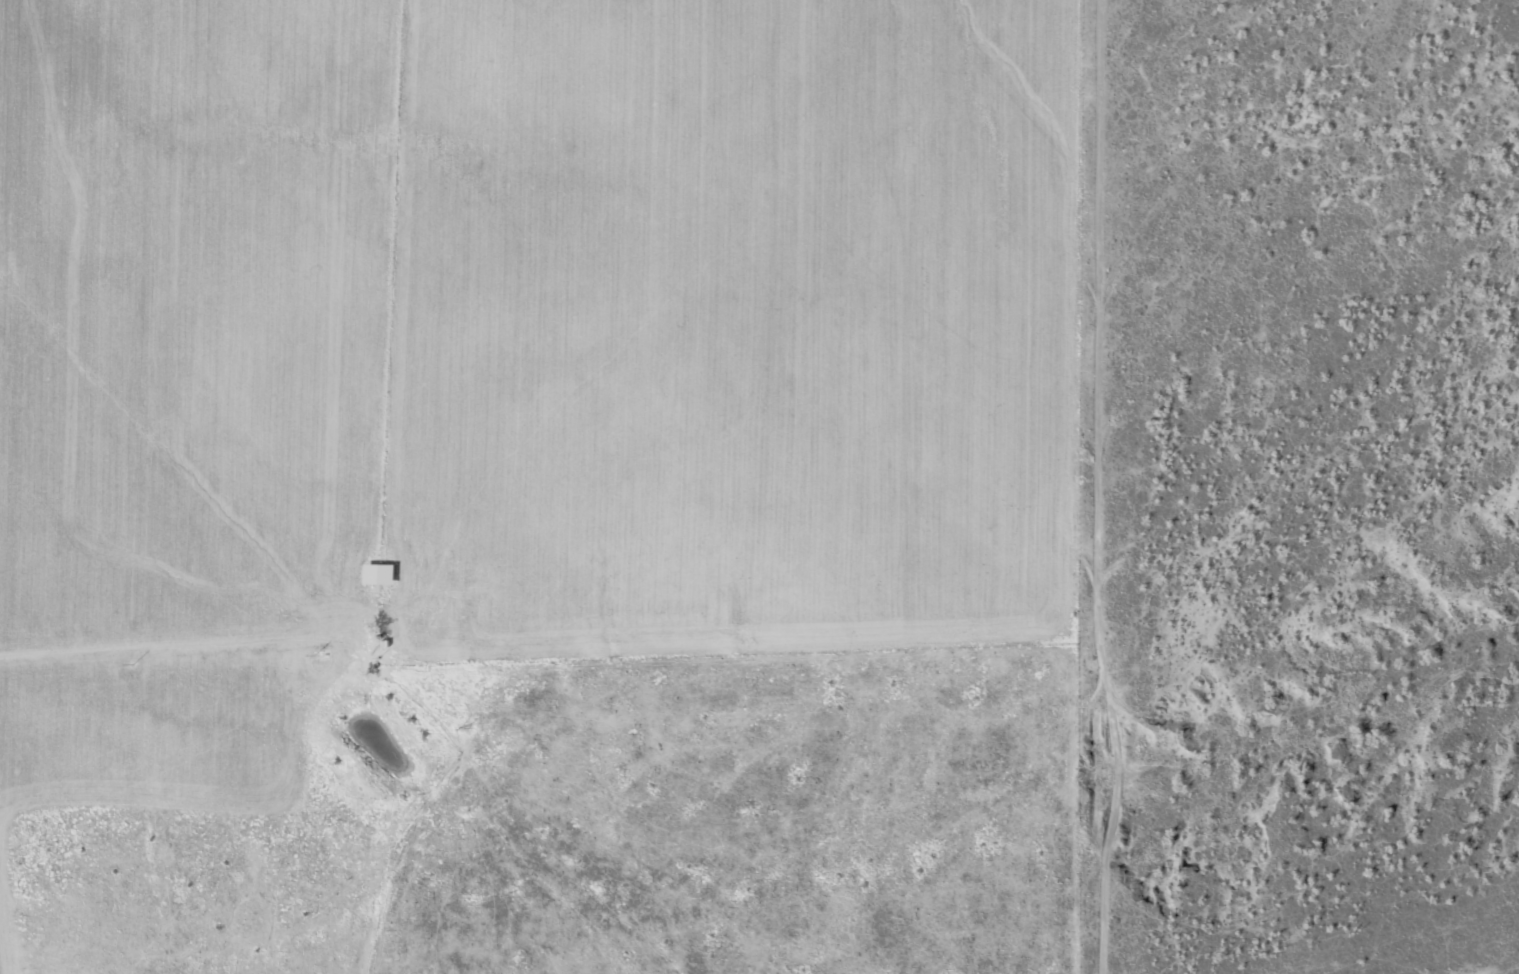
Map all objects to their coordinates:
road: (165, 720)

